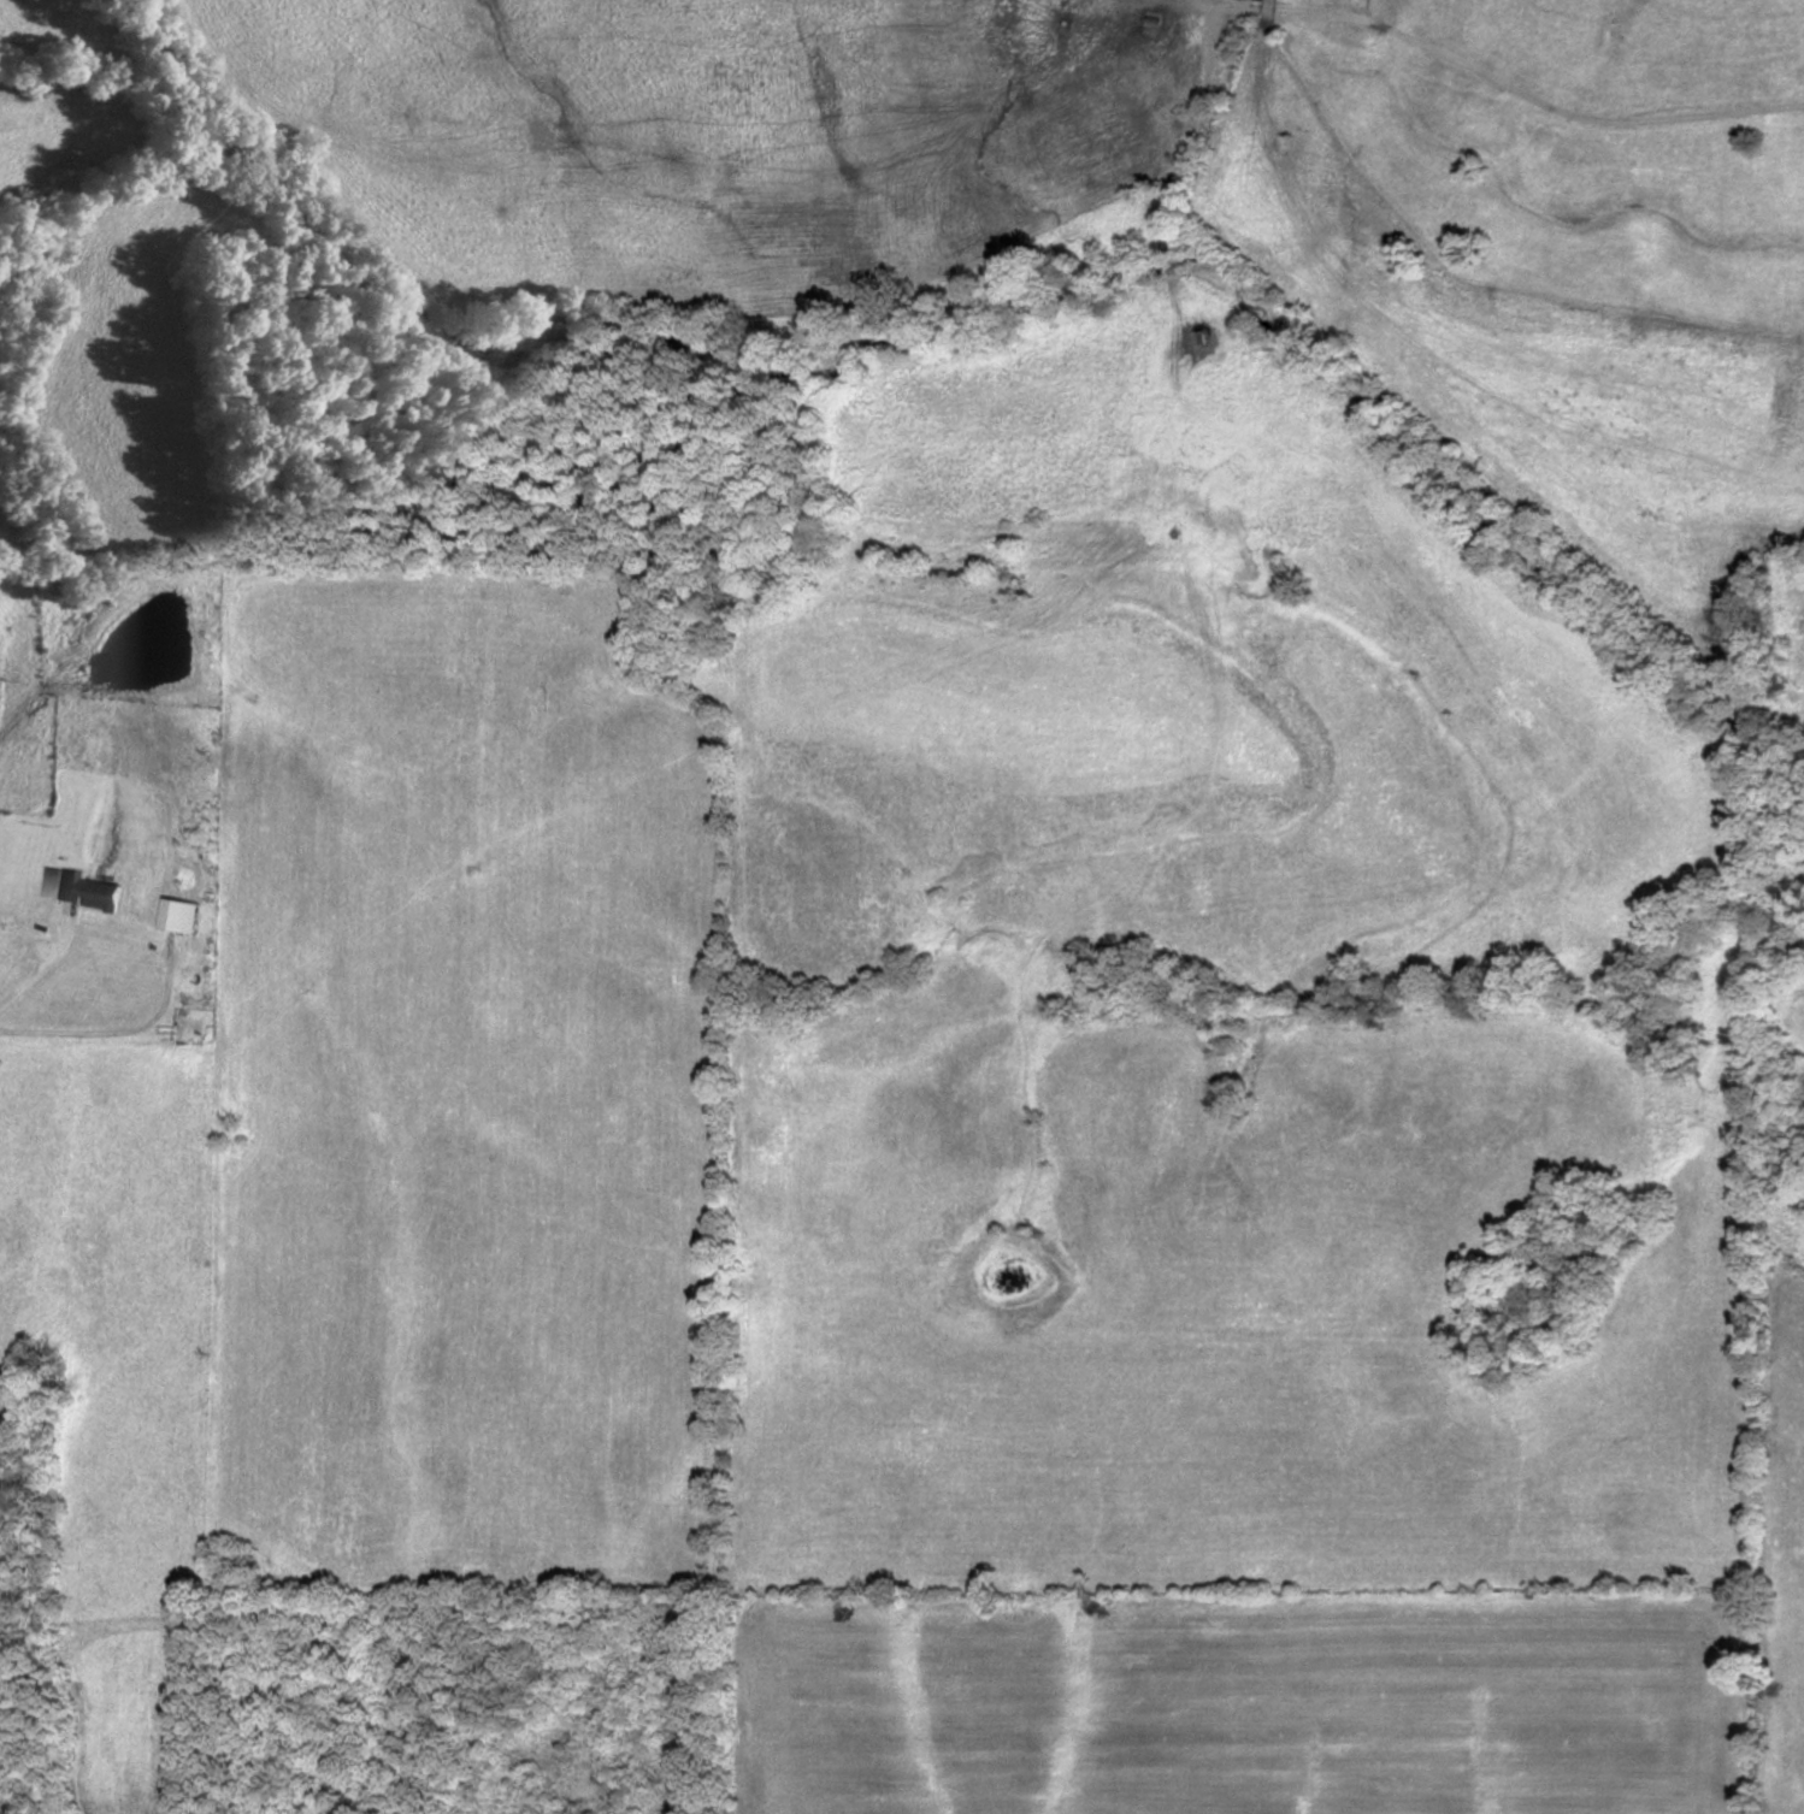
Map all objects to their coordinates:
building: (83, 890)
road: (13, 961)

